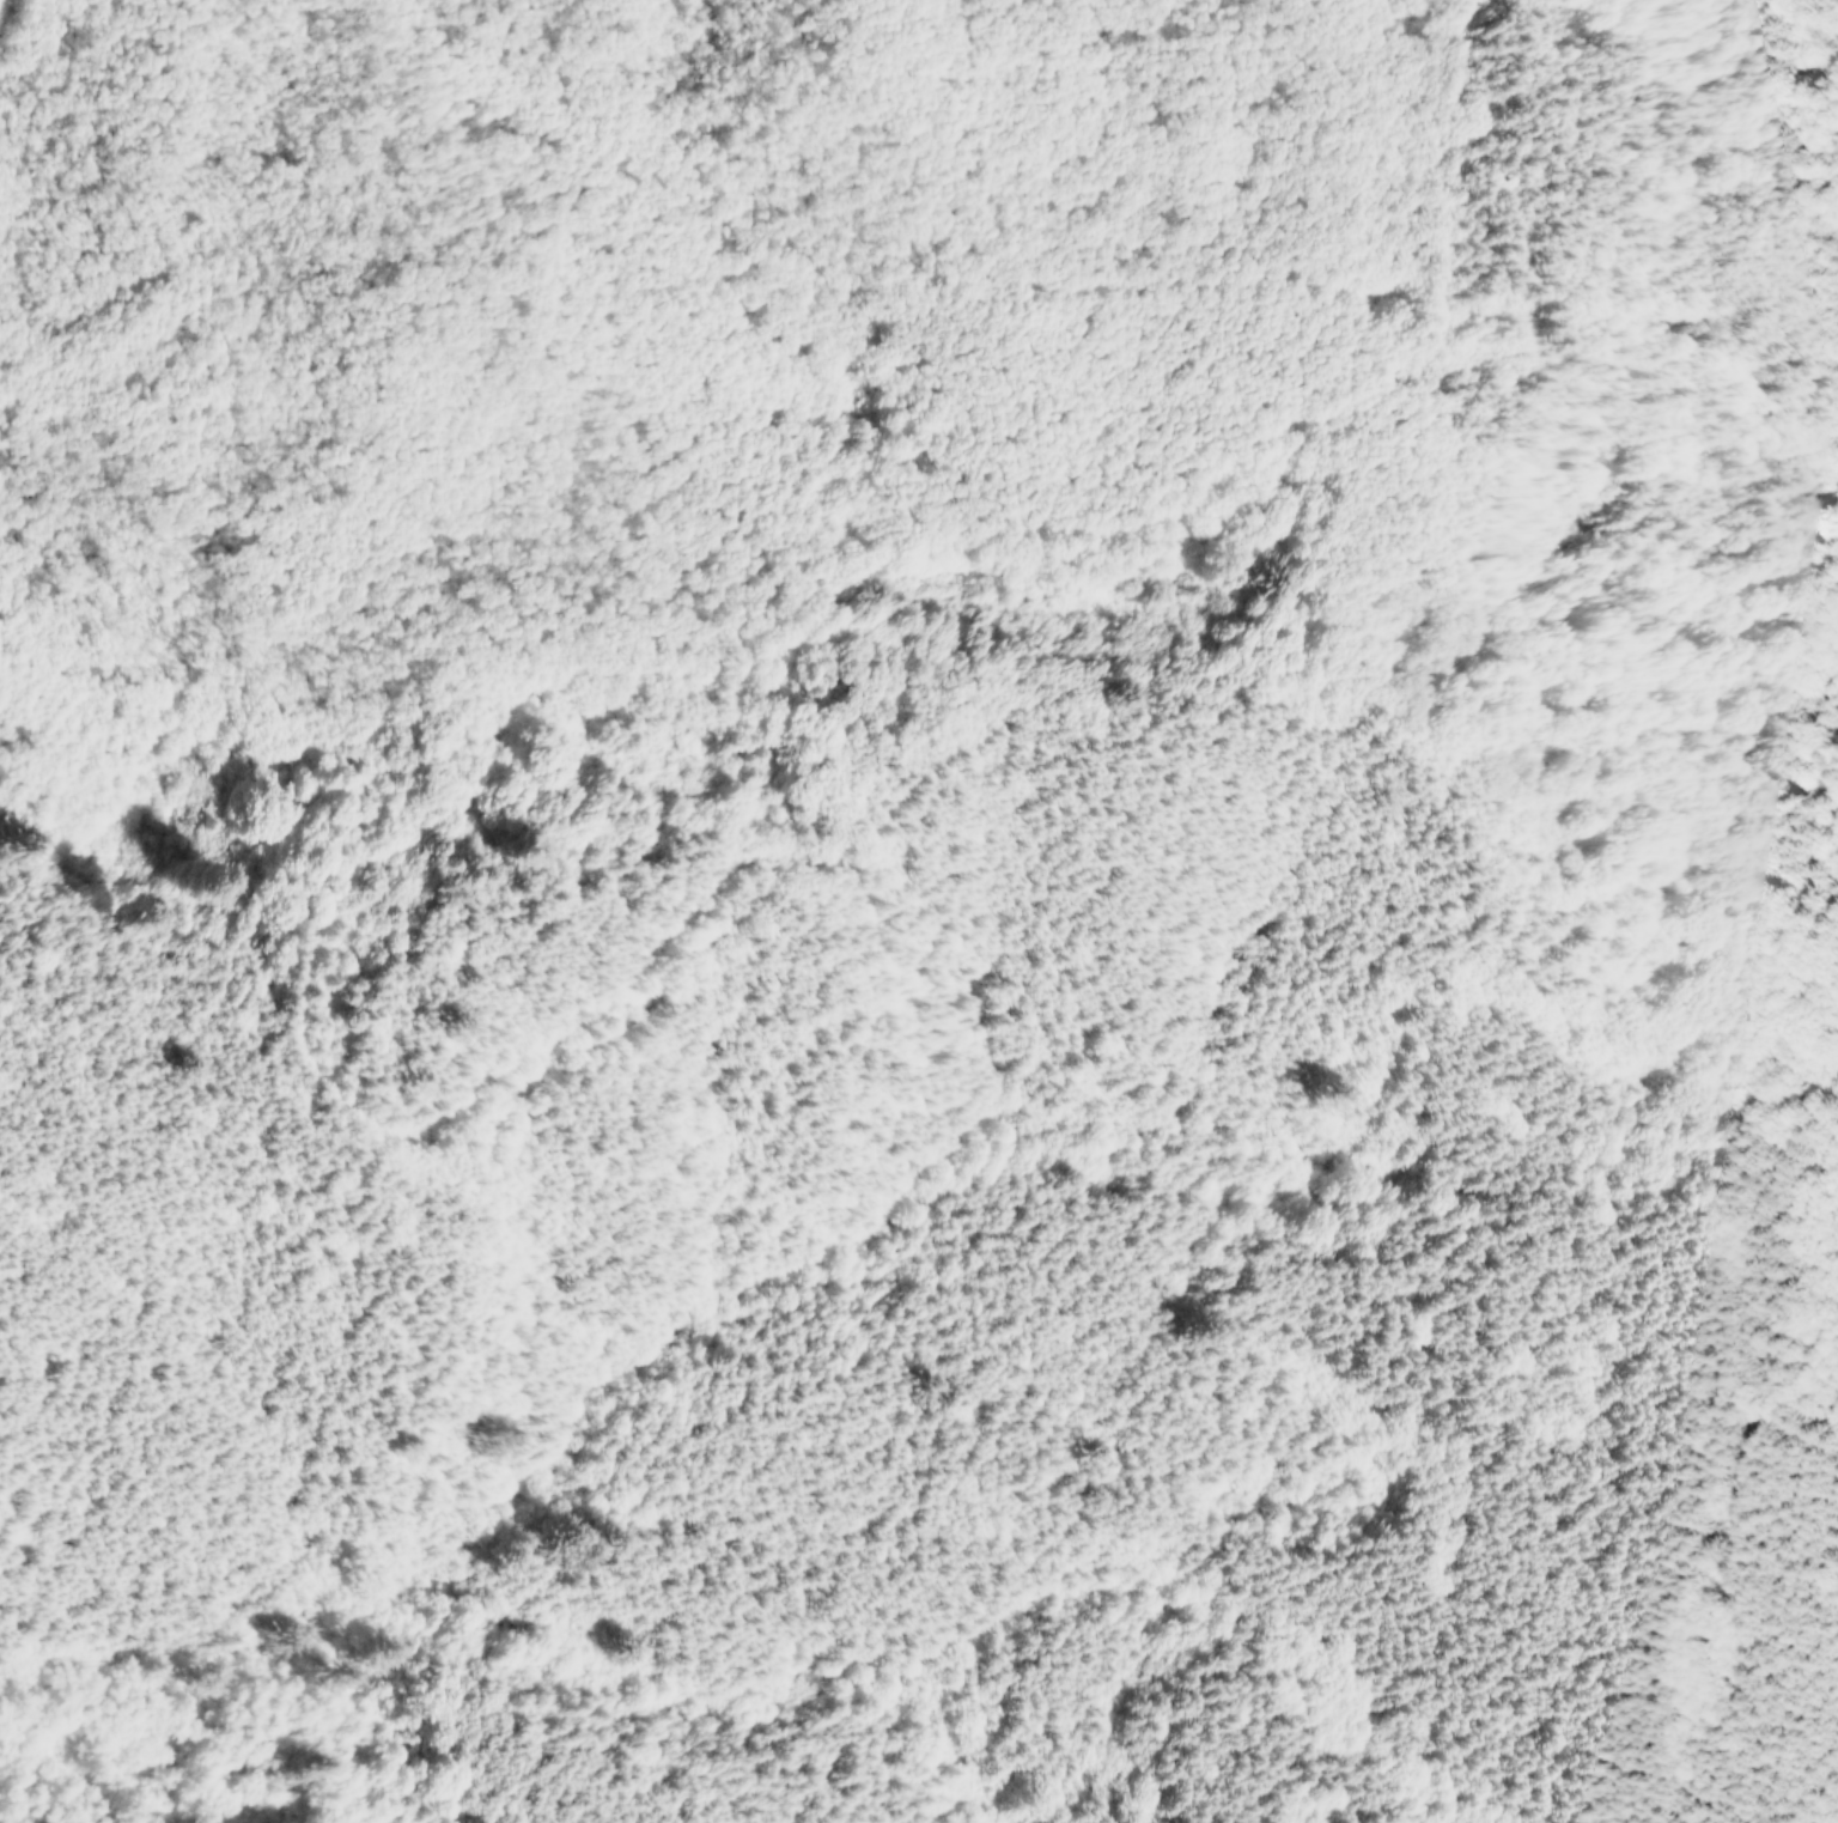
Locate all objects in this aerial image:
road: (780, 555)
road: (1647, 918)

